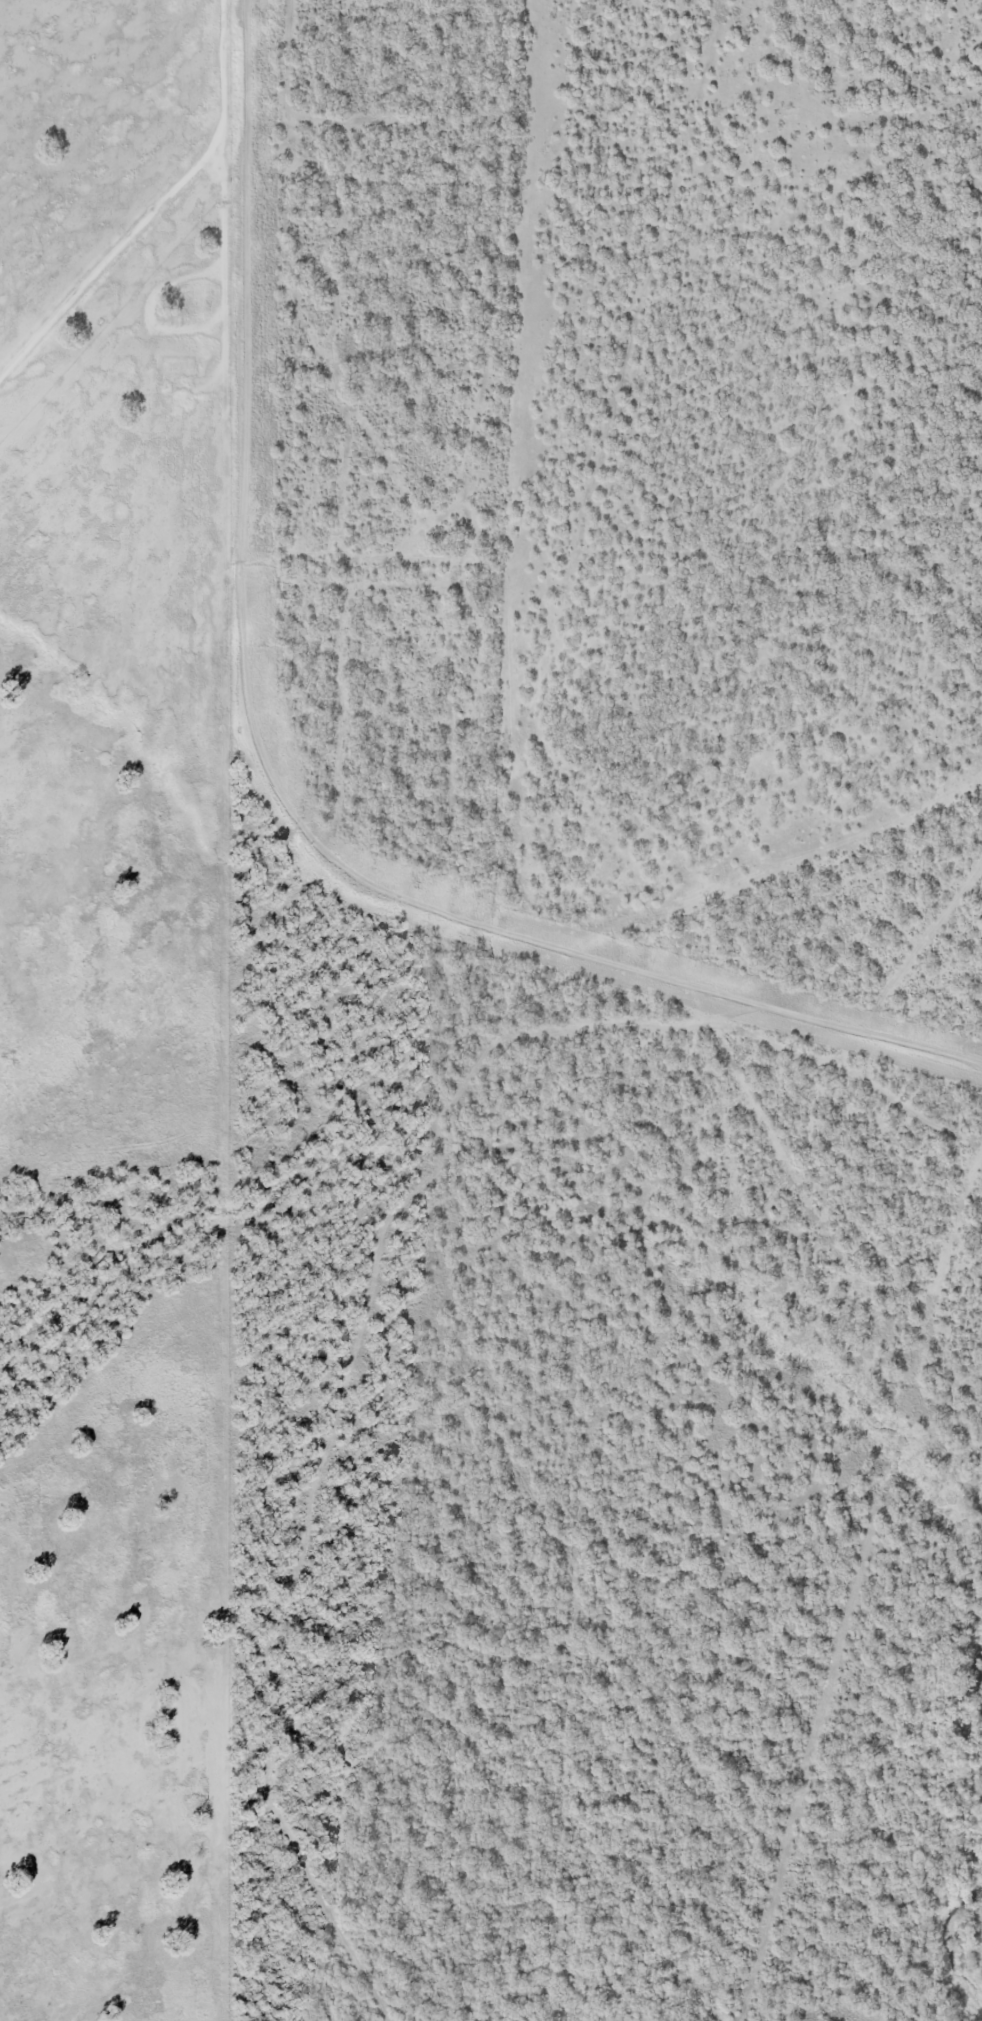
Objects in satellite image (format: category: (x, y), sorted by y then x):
road: (145, 200)
road: (429, 717)
river: (965, 1684)
river: (973, 1902)
river: (960, 1966)

